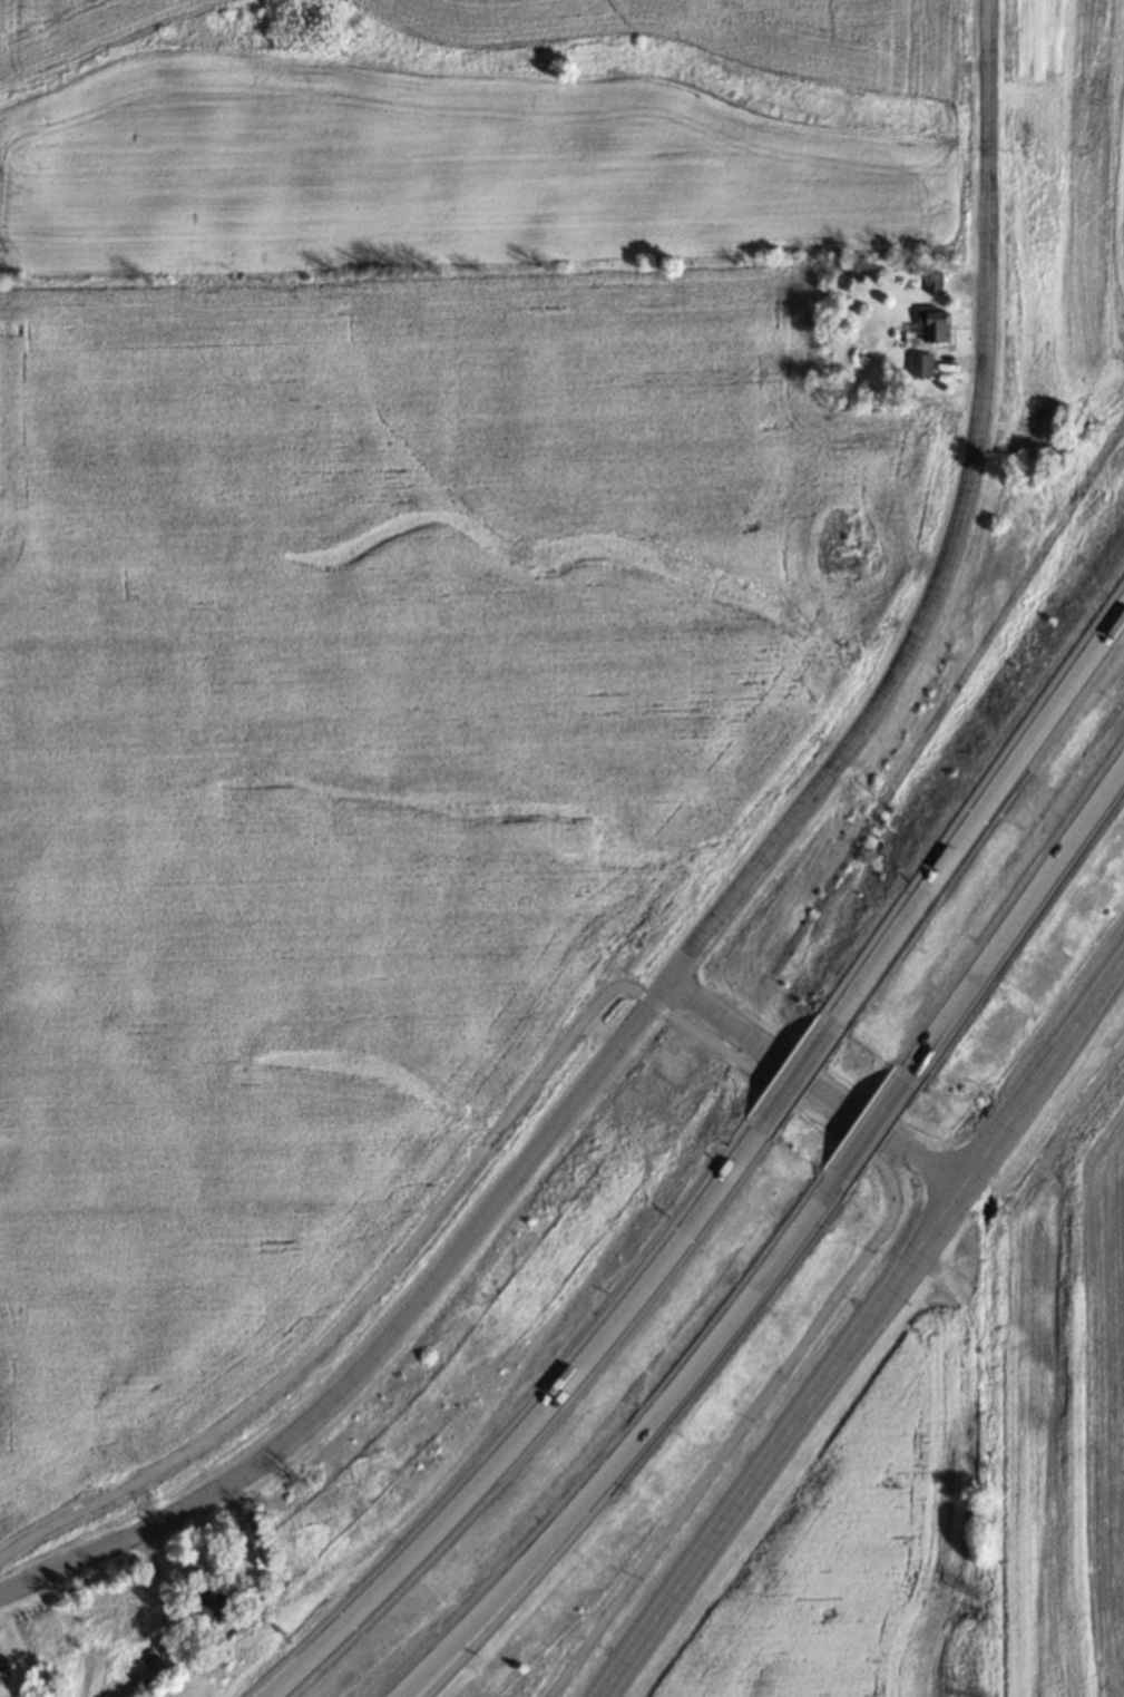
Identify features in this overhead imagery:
crop: (1061, 207)
building: (932, 323)
building: (920, 364)
building: (844, 539)
crop: (398, 625)
building: (831, 764)
road: (979, 808)
road: (712, 921)
road: (1020, 936)
road: (661, 1016)
road: (800, 1071)
road: (1043, 1073)
road: (814, 1090)
road: (882, 1128)
road: (522, 1416)
road: (633, 1442)
road: (781, 1443)
crop: (952, 1459)
road: (140, 1503)
building: (215, 1603)
building: (7, 1683)

